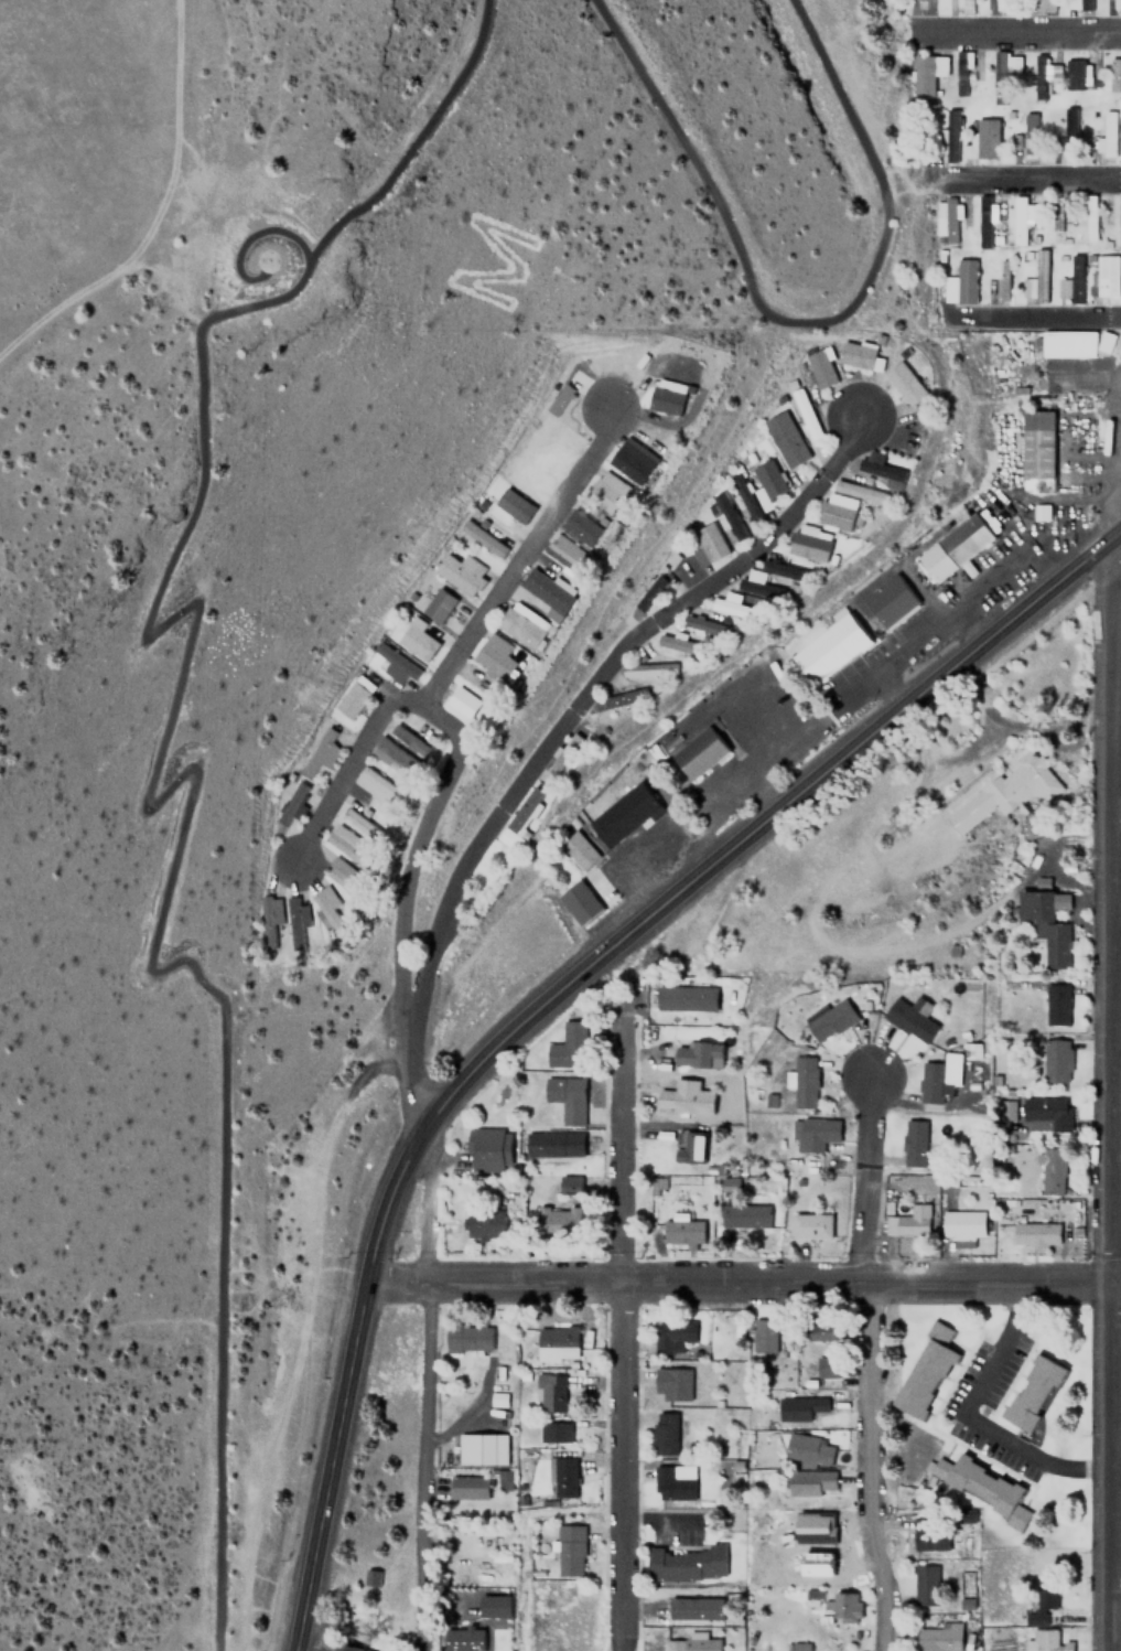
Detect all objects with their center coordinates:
building: (921, 0)
building: (1078, 4)
building: (1003, 6)
building: (1043, 6)
building: (1117, 6)
building: (967, 7)
road: (1016, 23)
building: (1044, 71)
building: (925, 73)
building: (961, 73)
building: (1003, 73)
building: (1074, 75)
building: (1114, 75)
building: (1028, 135)
building: (1106, 135)
building: (949, 136)
building: (1064, 137)
building: (987, 138)
road: (1033, 170)
building: (1054, 213)
building: (1089, 217)
building: (944, 219)
building: (1018, 219)
building: (983, 222)
building: (1119, 224)
road: (252, 234)
park: (505, 264)
building: (1038, 276)
building: (1104, 276)
building: (1006, 281)
building: (1069, 282)
building: (959, 283)
building: (1028, 289)
road: (1034, 307)
road: (799, 321)
building: (1103, 343)
building: (1068, 344)
building: (855, 354)
building: (818, 366)
building: (904, 382)
building: (666, 395)
building: (561, 399)
building: (805, 412)
building: (785, 439)
building: (1036, 450)
building: (633, 461)
building: (877, 469)
building: (767, 479)
road: (1114, 487)
building: (605, 491)
building: (859, 491)
building: (742, 497)
building: (514, 505)
building: (726, 514)
building: (849, 514)
building: (581, 526)
road: (1114, 530)
building: (481, 537)
building: (709, 540)
building: (808, 542)
building: (955, 546)
building: (564, 556)
road: (527, 557)
building: (460, 572)
building: (761, 585)
building: (543, 592)
building: (647, 593)
building: (890, 600)
building: (438, 605)
building: (733, 607)
building: (707, 624)
building: (521, 626)
building: (417, 642)
building: (679, 643)
building: (829, 647)
building: (493, 656)
building: (395, 664)
building: (649, 668)
building: (353, 697)
building: (619, 699)
building: (462, 701)
road: (560, 722)
building: (408, 739)
road: (454, 747)
building: (563, 751)
building: (320, 752)
building: (698, 752)
building: (395, 758)
building: (378, 786)
road: (148, 787)
building: (1004, 791)
building: (291, 804)
building: (623, 814)
building: (360, 823)
building: (346, 845)
building: (578, 850)
road: (1114, 870)
building: (339, 875)
building: (1043, 882)
building: (579, 902)
building: (325, 904)
building: (267, 919)
building: (295, 920)
building: (1046, 924)
road: (548, 995)
building: (686, 997)
building: (1056, 1004)
building: (830, 1019)
building: (909, 1021)
building: (568, 1046)
building: (696, 1053)
building: (1057, 1061)
building: (804, 1082)
building: (933, 1082)
road: (1104, 1093)
building: (565, 1097)
building: (685, 1097)
building: (1047, 1111)
building: (812, 1134)
building: (913, 1143)
building: (552, 1144)
building: (690, 1148)
building: (486, 1150)
building: (1050, 1171)
building: (731, 1183)
building: (567, 1184)
building: (745, 1215)
building: (559, 1218)
building: (907, 1221)
building: (483, 1224)
building: (962, 1224)
building: (810, 1226)
building: (682, 1232)
building: (1035, 1233)
road: (742, 1284)
road: (617, 1322)
building: (821, 1333)
building: (671, 1334)
building: (763, 1334)
building: (468, 1340)
building: (556, 1342)
road: (865, 1365)
building: (829, 1368)
building: (927, 1372)
building: (671, 1384)
road: (423, 1389)
building: (1032, 1393)
building: (551, 1395)
building: (799, 1407)
building: (553, 1433)
building: (664, 1433)
building: (482, 1448)
building: (808, 1448)
building: (561, 1478)
building: (505, 1480)
building: (670, 1482)
building: (811, 1483)
building: (467, 1488)
building: (981, 1488)
building: (929, 1531)
building: (568, 1550)
building: (685, 1564)
building: (373, 1578)
building: (925, 1585)
building: (1039, 1602)
building: (847, 1607)
building: (694, 1608)
building: (938, 1636)
building: (1046, 1641)
building: (692, 1644)
building: (798, 1647)
building: (345, 1649)

